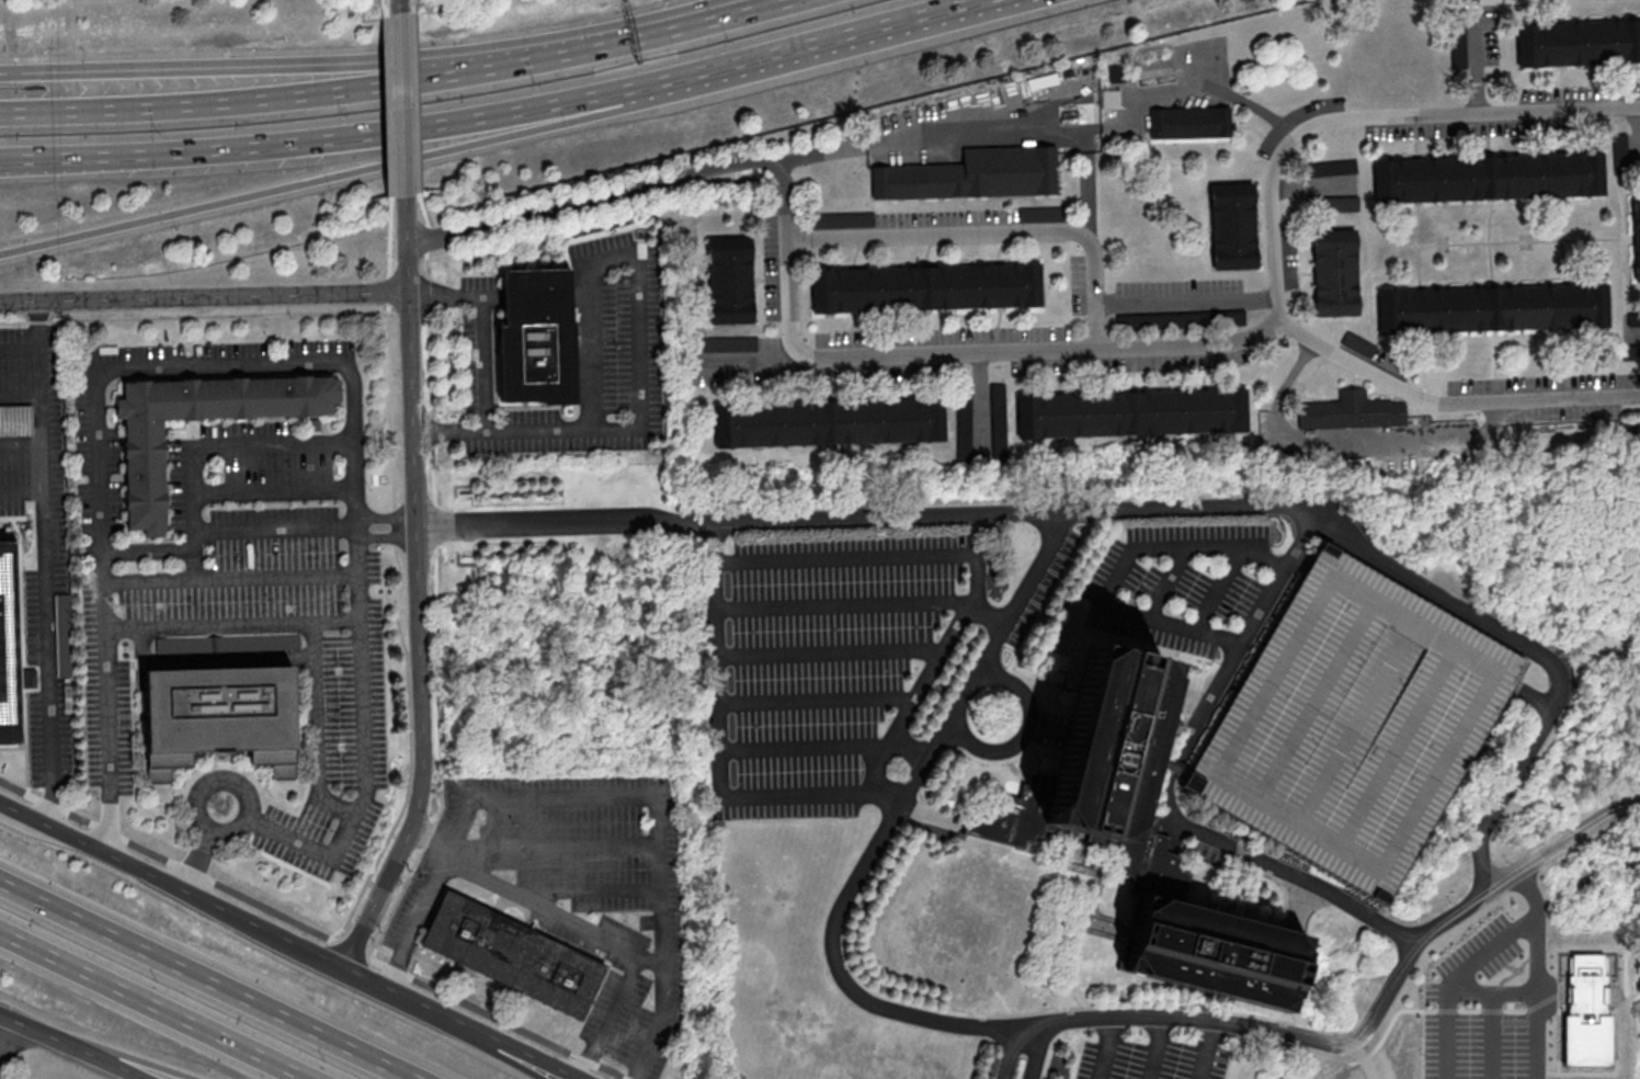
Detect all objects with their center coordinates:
road: (400, 8)
road: (707, 21)
road: (841, 39)
building: (1579, 42)
road: (574, 50)
road: (264, 67)
road: (265, 98)
building: (1113, 98)
road: (403, 105)
road: (1257, 107)
road: (979, 118)
building: (1192, 122)
road: (345, 136)
building: (1621, 149)
road: (54, 161)
building: (1333, 168)
road: (345, 174)
building: (973, 174)
building: (1489, 177)
road: (622, 196)
building: (1342, 204)
building: (1233, 225)
road: (993, 235)
building: (1636, 236)
road: (1276, 241)
building: (1335, 271)
building: (730, 280)
building: (926, 286)
road: (204, 298)
road: (1189, 305)
building: (1492, 307)
building: (1181, 318)
road: (485, 323)
road: (38, 327)
building: (537, 334)
road: (641, 343)
road: (988, 352)
road: (172, 368)
road: (20, 394)
building: (1352, 411)
building: (1132, 412)
building: (830, 422)
building: (964, 423)
road: (21, 440)
road: (226, 447)
building: (146, 474)
road: (273, 487)
road: (22, 490)
road: (356, 529)
road: (718, 543)
road: (1117, 568)
road: (46, 569)
road: (230, 577)
parking lot: (1180, 581)
road: (421, 593)
road: (718, 599)
road: (845, 601)
road: (206, 623)
road: (1252, 631)
building: (224, 643)
building: (10, 649)
road: (828, 650)
parking lot: (832, 659)
road: (913, 692)
road: (817, 697)
building: (219, 716)
building: (1351, 724)
parking lot: (1351, 724)
road: (317, 726)
road: (1027, 732)
road: (106, 740)
road: (911, 741)
road: (805, 746)
road: (1174, 763)
road: (600, 797)
road: (1501, 804)
road: (16, 807)
road: (243, 827)
road: (555, 842)
building: (1143, 842)
road: (1559, 842)
road: (196, 862)
road: (1277, 865)
road: (134, 866)
parking lot: (574, 887)
road: (578, 889)
road: (1095, 889)
road: (1530, 891)
road: (605, 939)
building: (513, 955)
road: (352, 978)
road: (1455, 980)
road: (203, 981)
road: (1492, 996)
road: (1536, 998)
road: (150, 1007)
road: (32, 1031)
road: (1492, 1037)
road: (9, 1042)
road: (1105, 1049)
road: (1155, 1049)
road: (1204, 1050)
road: (1007, 1054)
road: (1036, 1055)
road: (511, 1056)
road: (522, 1056)
parking lot: (1146, 1060)
road: (100, 1063)
road: (127, 1063)

